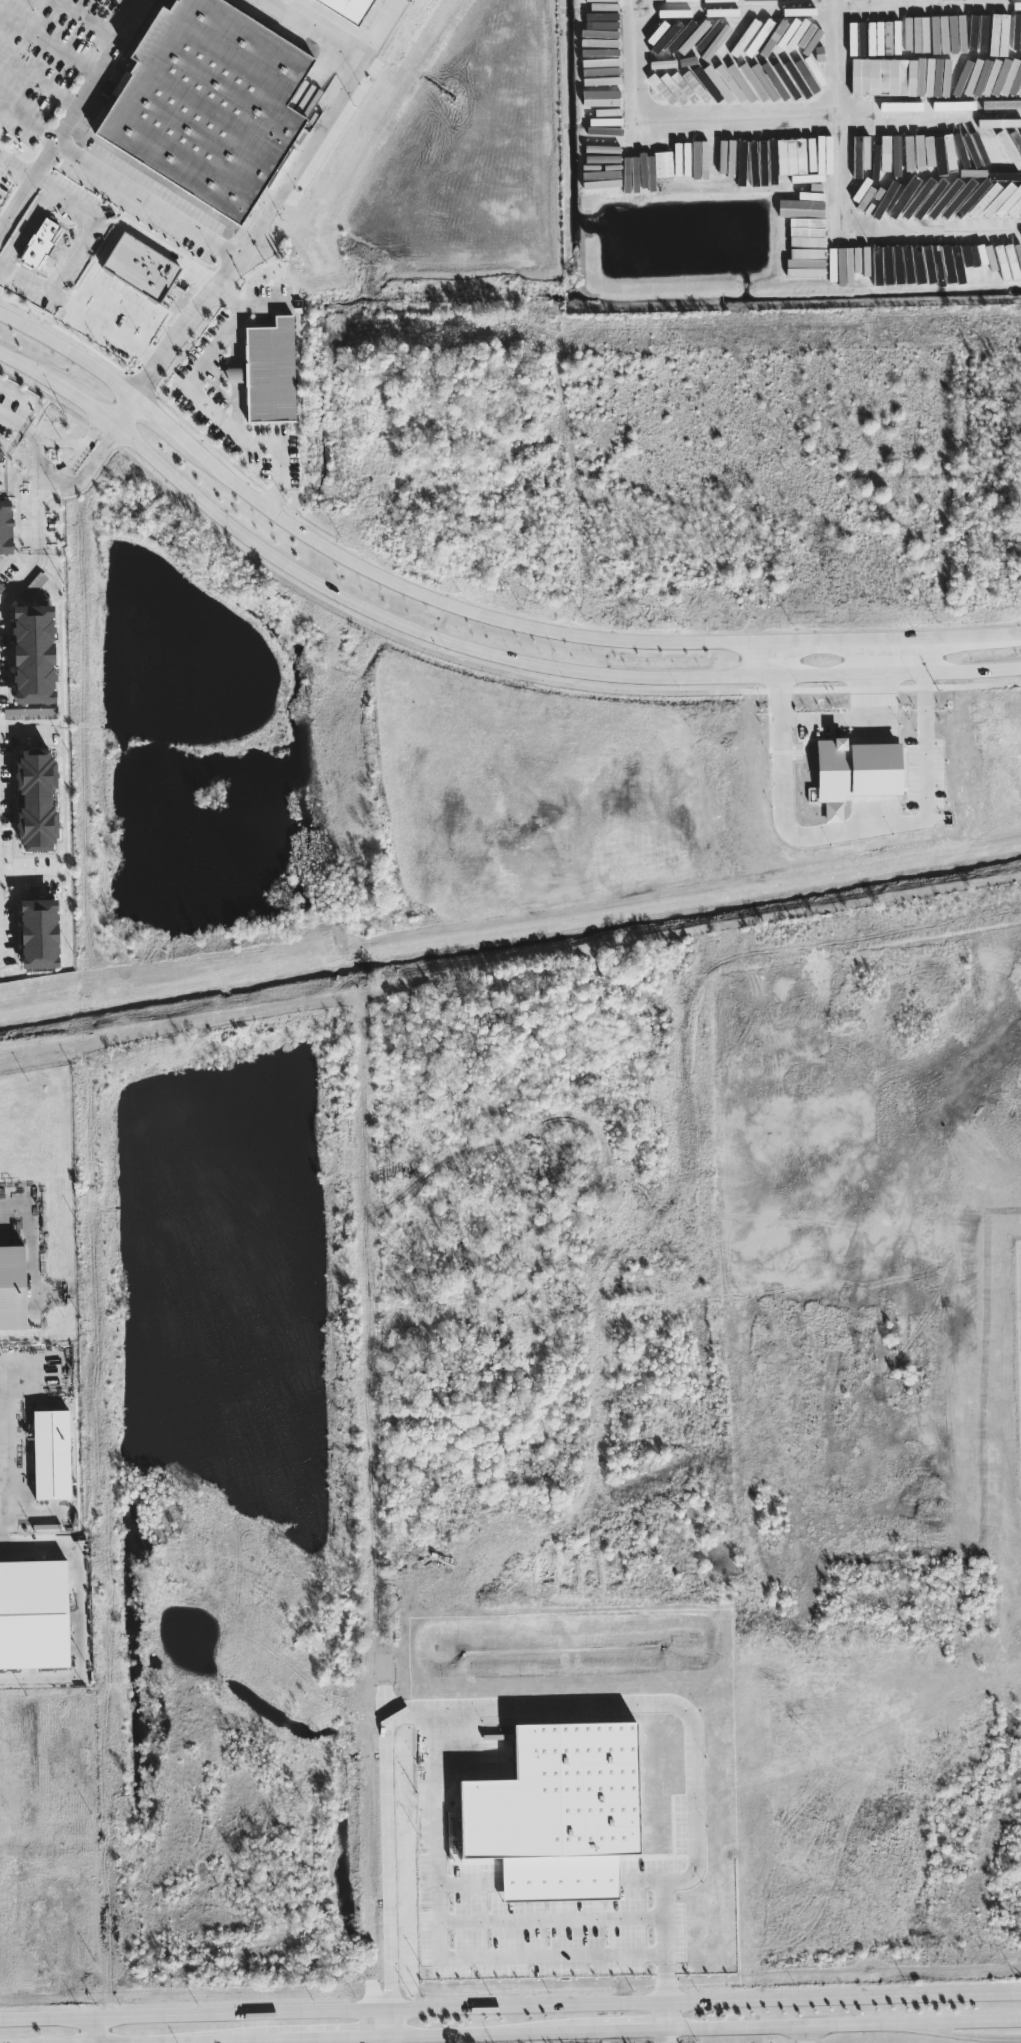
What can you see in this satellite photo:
road: (771, 2)
road: (135, 3)
building: (350, 7)
road: (84, 21)
road: (314, 29)
building: (1016, 31)
building: (999, 33)
building: (605, 34)
road: (49, 39)
road: (635, 68)
building: (888, 76)
road: (39, 82)
building: (209, 102)
road: (71, 114)
road: (28, 121)
road: (806, 137)
road: (2, 160)
road: (17, 163)
building: (663, 163)
building: (764, 163)
building: (955, 182)
road: (147, 197)
road: (270, 202)
building: (801, 207)
road: (89, 224)
building: (41, 242)
road: (876, 246)
building: (141, 267)
road: (79, 312)
road: (70, 350)
road: (29, 366)
building: (268, 371)
road: (203, 402)
road: (84, 404)
road: (124, 410)
road: (13, 419)
road: (165, 423)
road: (59, 440)
road: (82, 444)
building: (0, 450)
road: (93, 460)
road: (50, 478)
road: (38, 487)
building: (6, 527)
road: (20, 579)
building: (1, 587)
road: (584, 634)
building: (33, 654)
road: (756, 658)
road: (532, 664)
building: (29, 712)
road: (28, 725)
road: (84, 757)
building: (36, 799)
road: (30, 872)
building: (39, 933)
road: (87, 1012)
road: (600, 1167)
building: (12, 1287)
road: (368, 1358)
building: (51, 1454)
road: (100, 1521)
building: (33, 1614)
road: (390, 1863)
road: (443, 1946)
road: (510, 2008)
road: (668, 2017)
road: (394, 2022)
road: (844, 2026)
road: (89, 2030)
road: (624, 2030)
road: (348, 2034)
road: (805, 2035)
road: (973, 2035)
road: (668, 2036)

